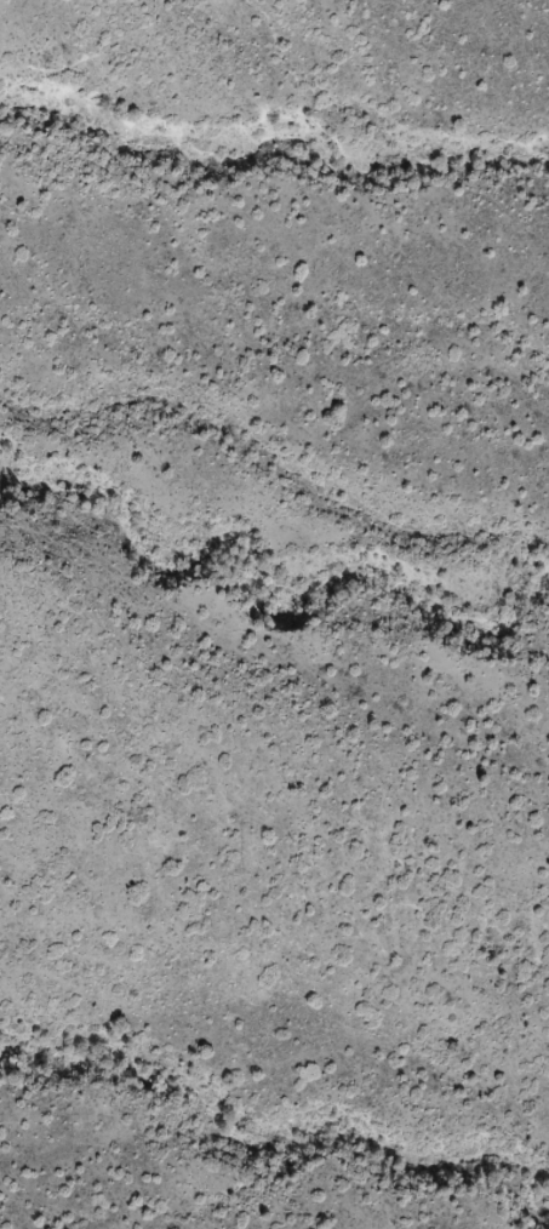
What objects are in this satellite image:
road: (88, 56)

